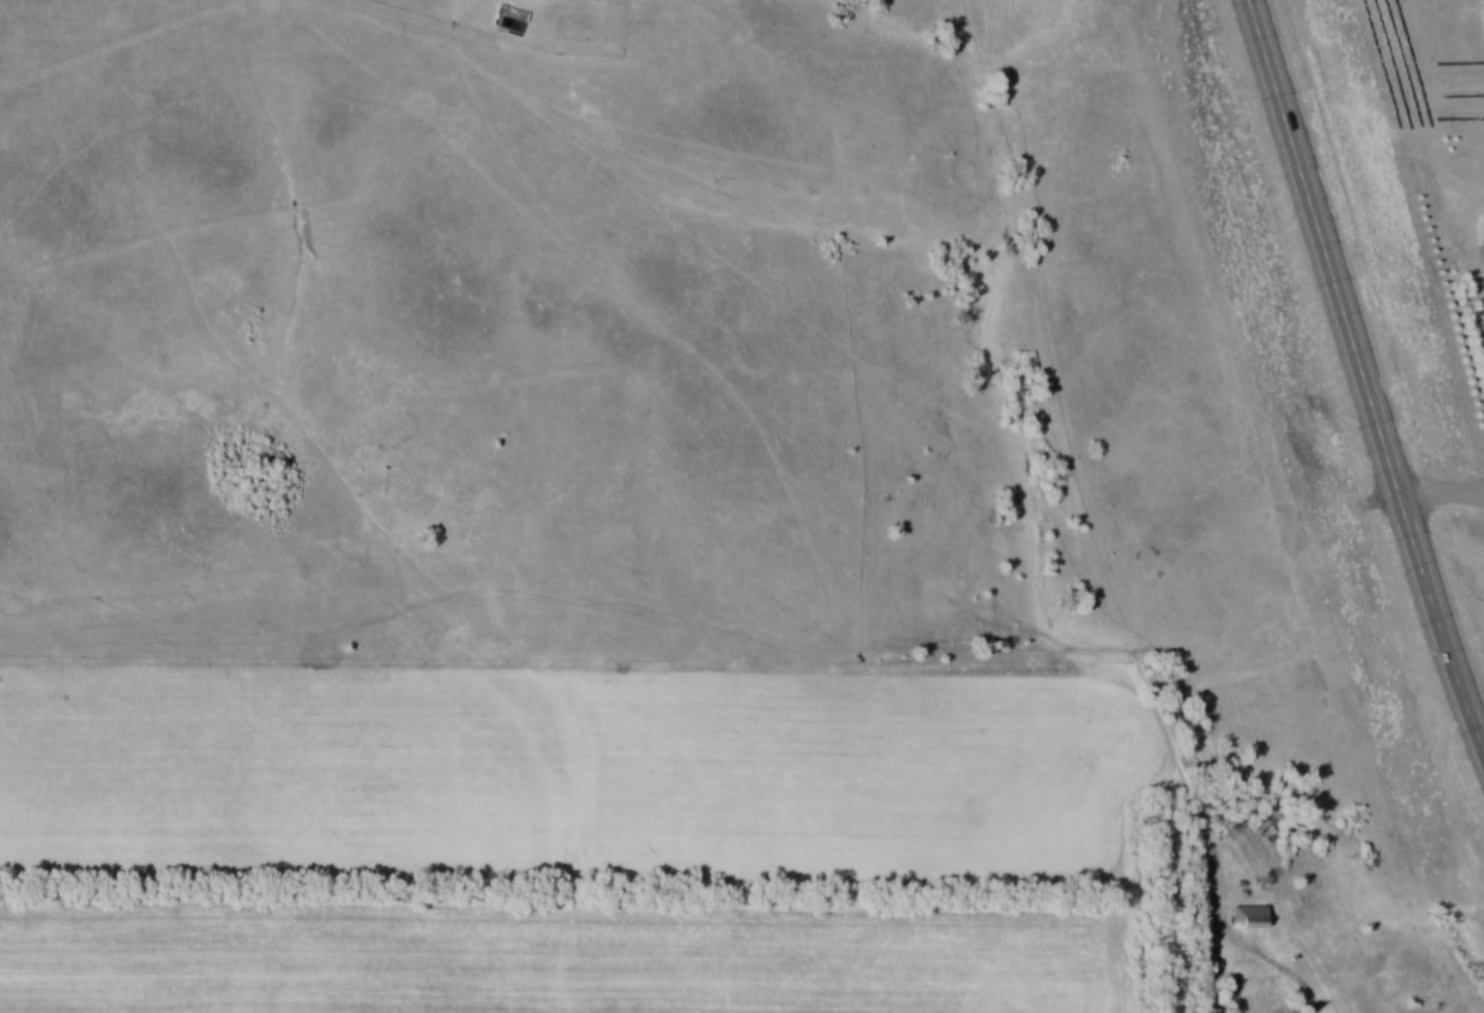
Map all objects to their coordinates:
road: (1363, 373)
road: (1443, 496)
building: (1251, 916)

